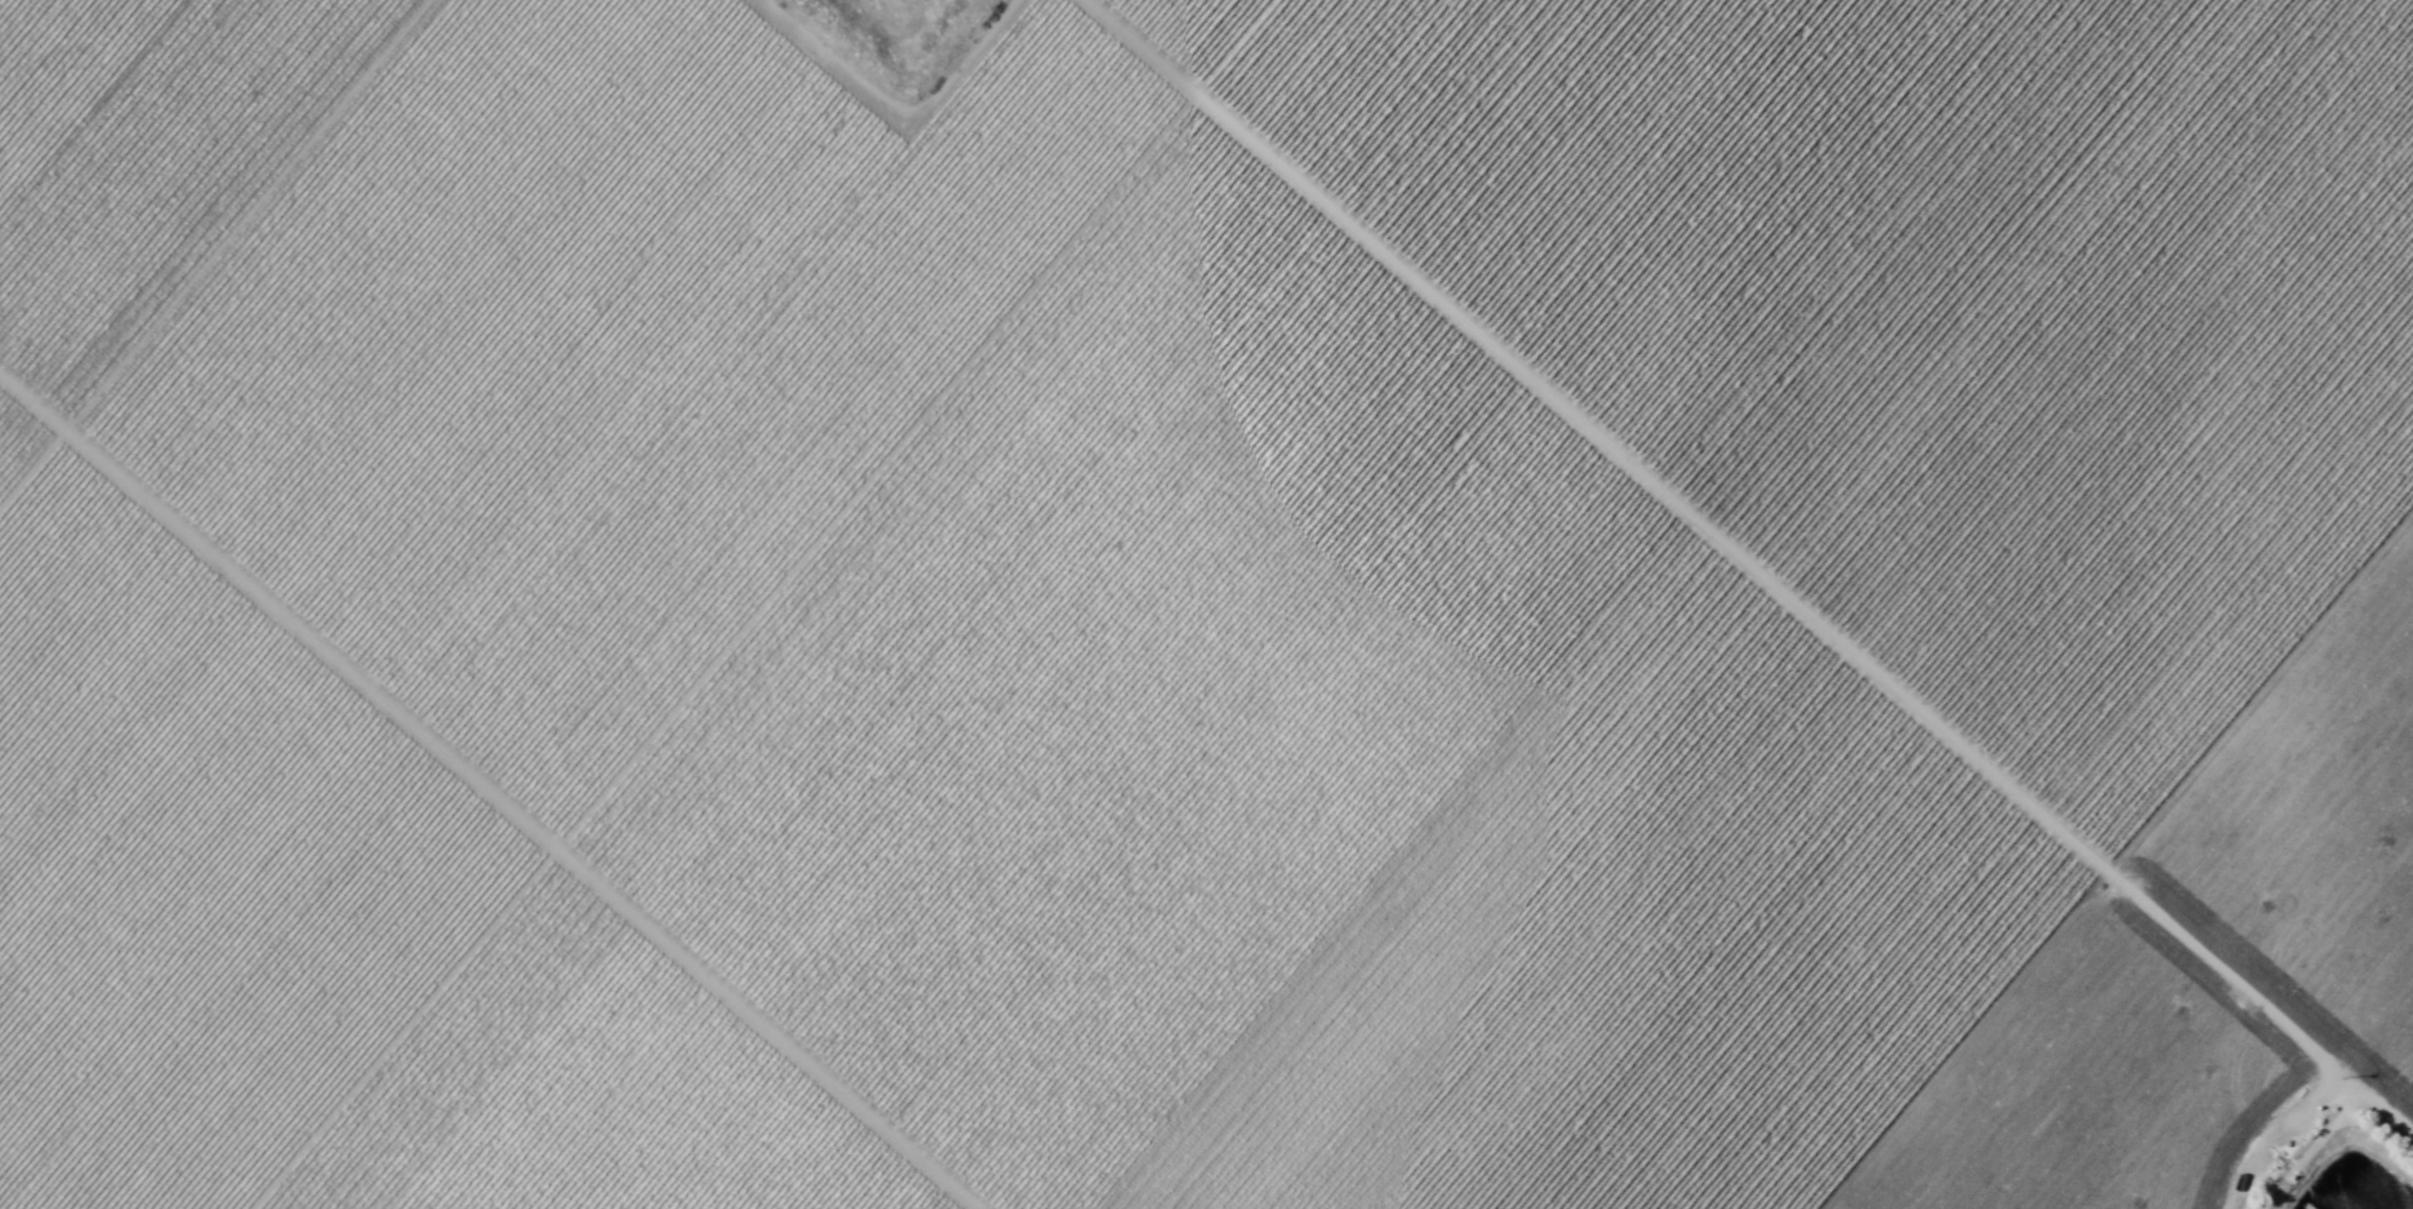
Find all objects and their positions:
wastewater plant: (906, 30)
road: (1143, 47)
building: (2283, 52)
road: (215, 252)
building: (1465, 330)
road: (764, 604)
crop: (1206, 604)
road: (278, 611)
road: (1806, 614)
road: (768, 1028)
wastewater plant: (2364, 1198)

